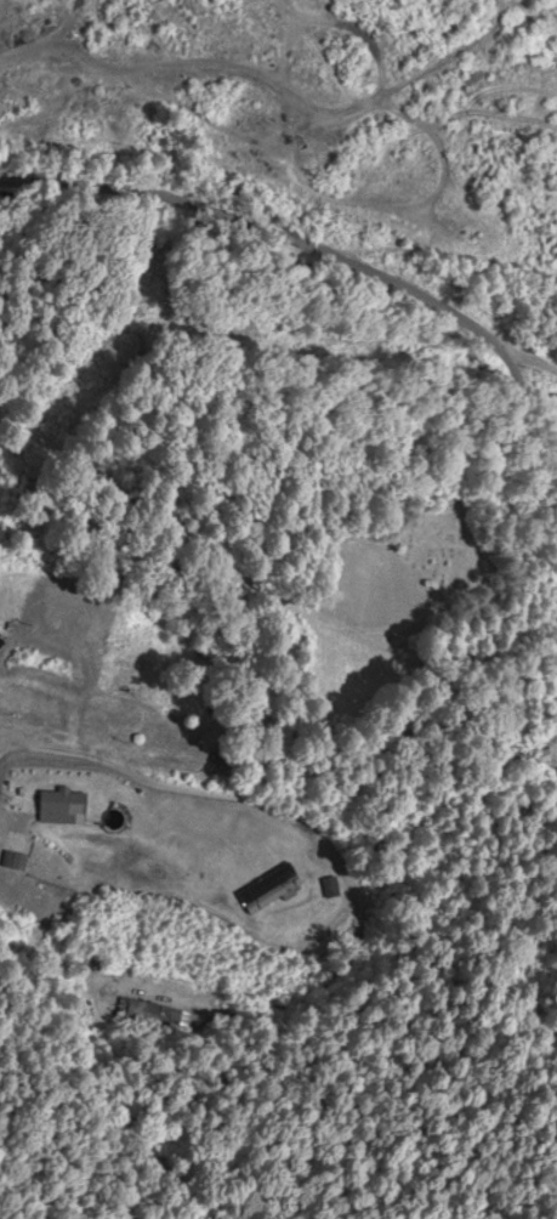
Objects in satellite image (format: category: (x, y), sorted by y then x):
road: (289, 237)
building: (113, 710)
road: (174, 789)
building: (63, 805)

